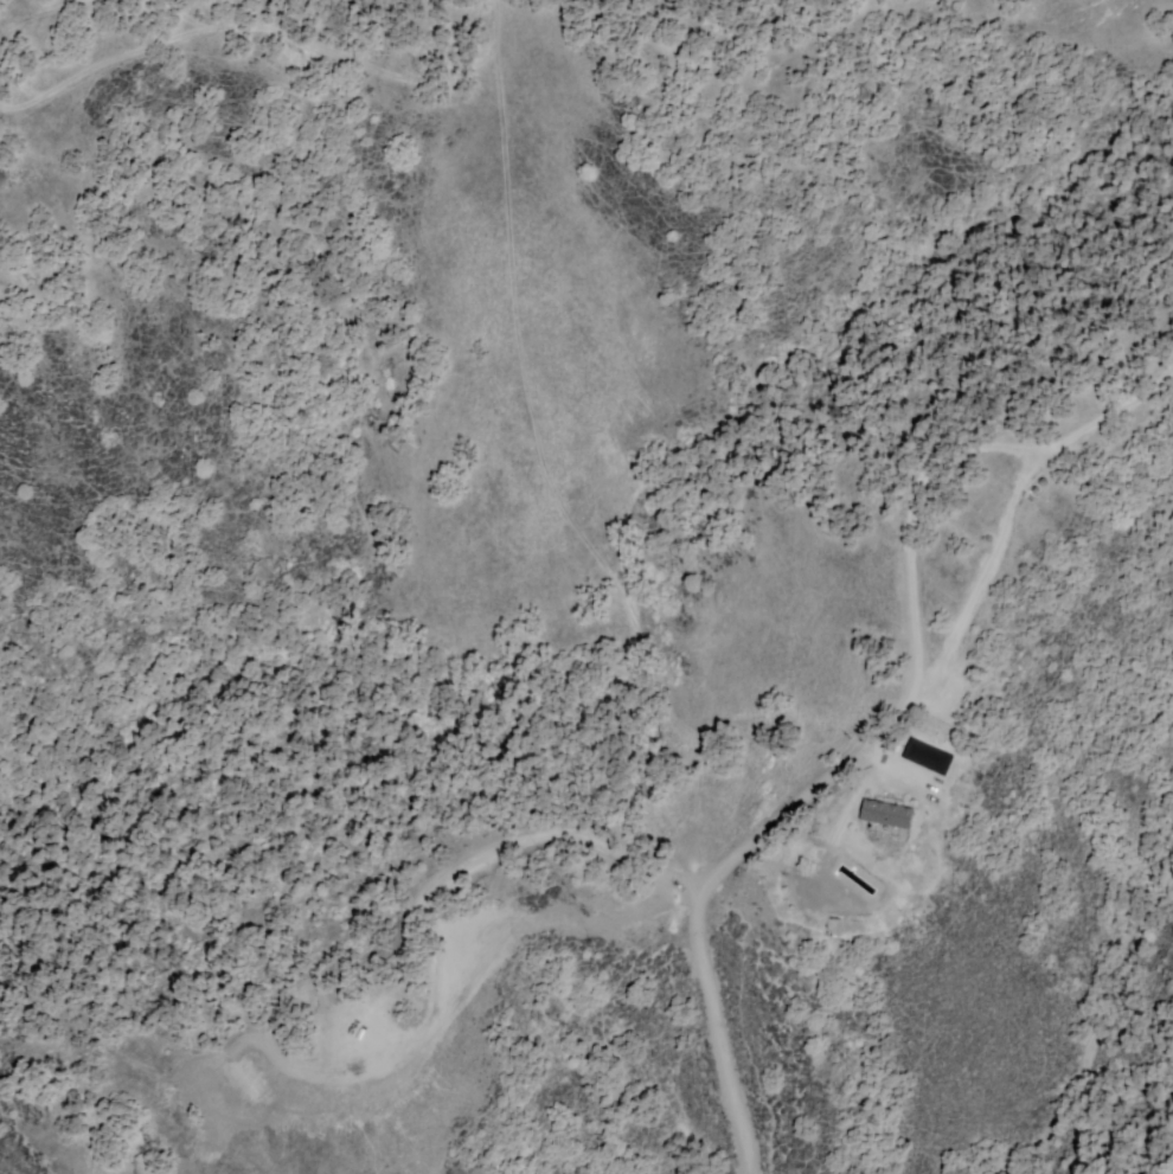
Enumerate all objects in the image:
road: (872, 742)
building: (886, 816)

